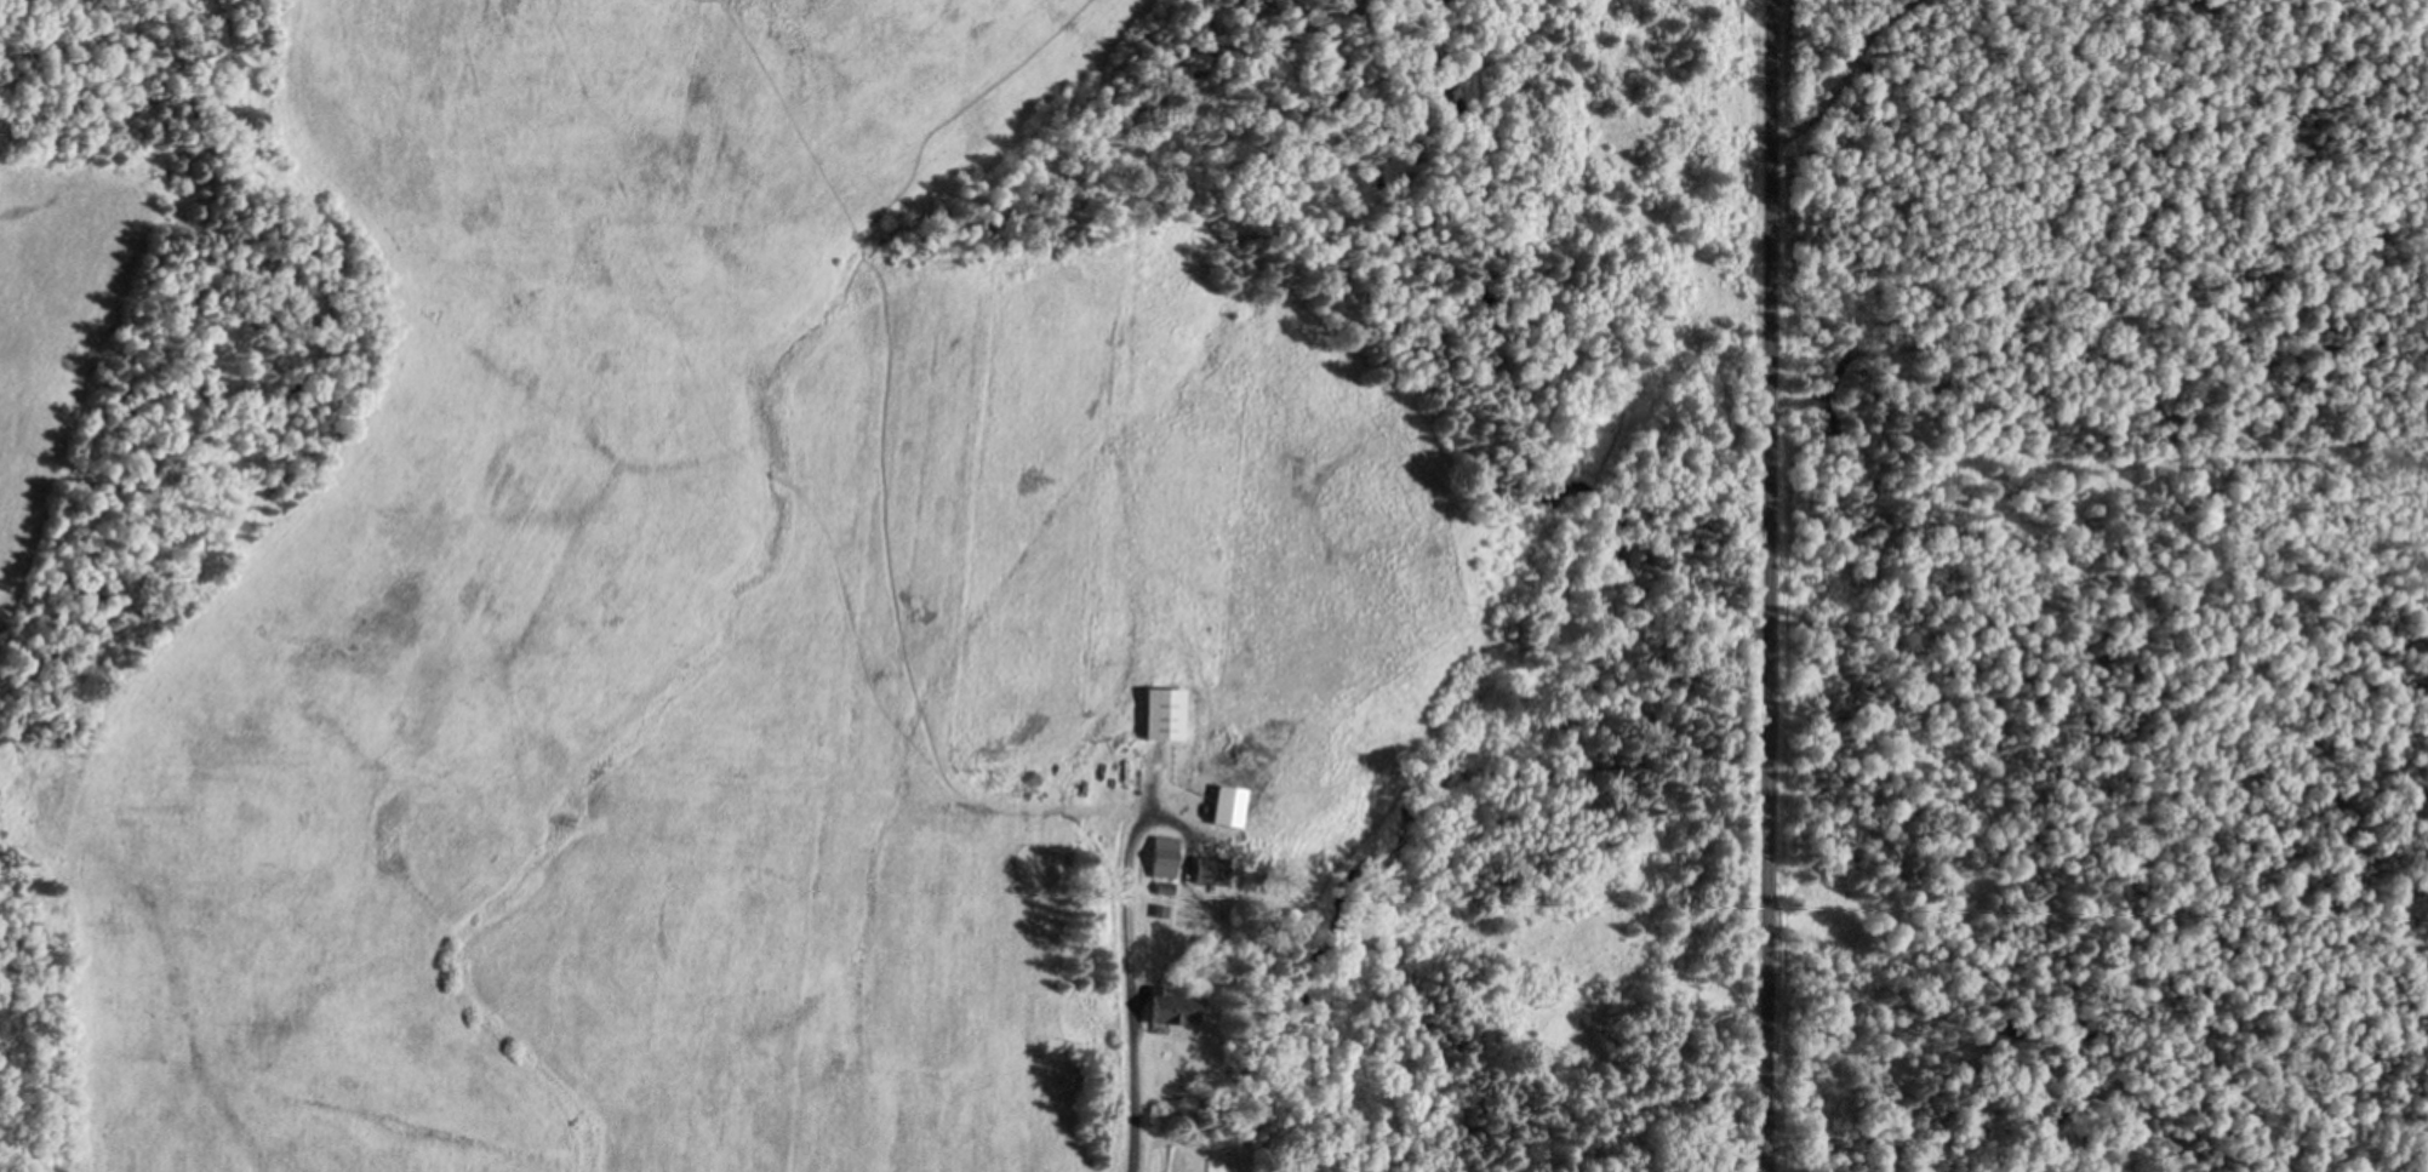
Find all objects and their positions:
road: (1766, 585)
building: (1169, 716)
building: (1167, 858)
building: (1215, 873)
building: (1175, 1008)
road: (1125, 1040)

